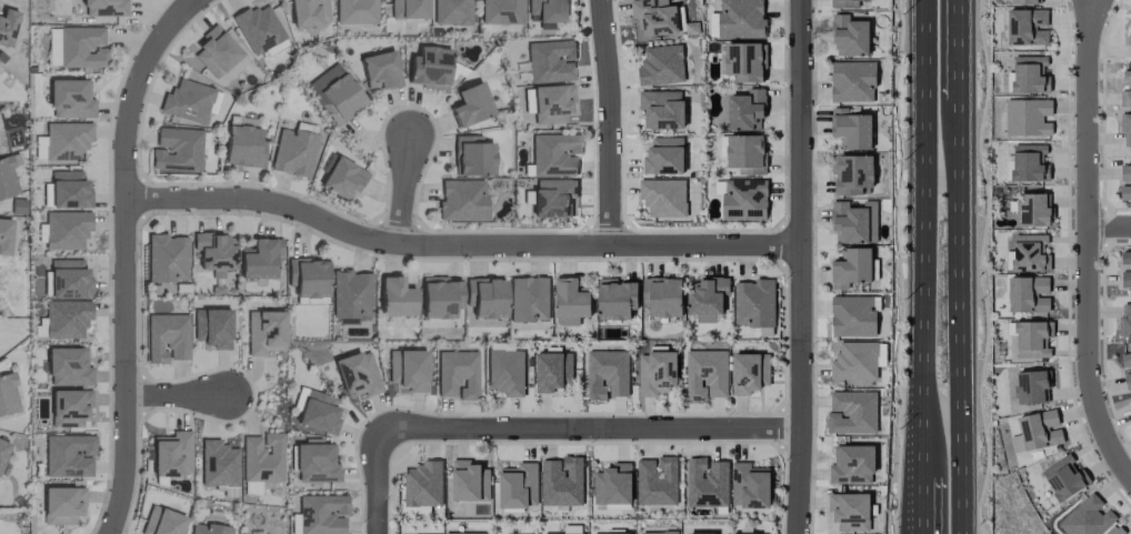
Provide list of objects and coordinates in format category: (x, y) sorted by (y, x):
building: (1023, 1)
building: (845, 3)
building: (97, 8)
building: (407, 9)
building: (354, 11)
building: (500, 11)
building: (307, 12)
building: (450, 12)
building: (546, 12)
building: (654, 17)
building: (741, 19)
building: (713, 24)
building: (7, 26)
building: (1027, 27)
building: (258, 28)
building: (849, 36)
building: (1130, 41)
building: (52, 47)
building: (81, 47)
road: (961, 48)
building: (216, 51)
building: (550, 61)
building: (745, 61)
building: (661, 64)
building: (428, 67)
building: (380, 70)
building: (1028, 75)
building: (852, 81)
building: (1125, 91)
building: (337, 92)
building: (70, 99)
building: (527, 100)
building: (186, 101)
building: (550, 103)
building: (469, 105)
building: (661, 109)
building: (741, 110)
road: (1084, 110)
building: (1027, 117)
road: (611, 123)
building: (1125, 128)
building: (851, 129)
building: (66, 141)
building: (242, 147)
building: (176, 149)
building: (292, 152)
building: (745, 152)
building: (553, 154)
building: (471, 155)
building: (663, 155)
building: (1029, 163)
building: (852, 173)
building: (341, 178)
building: (7, 179)
building: (1125, 182)
building: (68, 190)
road: (403, 190)
building: (552, 198)
building: (663, 198)
building: (461, 200)
building: (744, 200)
building: (1032, 210)
building: (854, 222)
road: (1109, 222)
building: (66, 230)
building: (4, 236)
road: (460, 248)
road: (918, 250)
building: (212, 251)
building: (1028, 252)
road: (127, 258)
building: (166, 258)
building: (1125, 258)
building: (259, 259)
road: (802, 266)
building: (851, 268)
building: (308, 276)
building: (69, 279)
building: (1125, 279)
building: (350, 294)
building: (1028, 294)
building: (662, 296)
building: (394, 298)
building: (439, 298)
building: (486, 298)
building: (529, 299)
building: (615, 299)
building: (707, 299)
building: (571, 301)
building: (754, 303)
road: (961, 314)
building: (852, 315)
building: (66, 319)
building: (1125, 320)
building: (211, 328)
building: (263, 332)
building: (166, 337)
road: (1087, 355)
building: (1125, 359)
building: (858, 360)
building: (67, 366)
building: (407, 370)
building: (552, 371)
building: (506, 372)
building: (657, 372)
building: (749, 372)
building: (357, 374)
building: (457, 374)
building: (607, 374)
building: (705, 374)
building: (1128, 380)
building: (1025, 385)
building: (7, 395)
road: (179, 397)
building: (68, 407)
building: (1130, 410)
building: (852, 411)
building: (318, 412)
road: (589, 431)
building: (1035, 431)
building: (2, 450)
building: (68, 455)
building: (171, 455)
building: (313, 462)
building: (260, 463)
building: (217, 464)
building: (852, 464)
building: (1063, 477)
building: (657, 481)
road: (377, 482)
building: (469, 482)
building: (561, 482)
building: (707, 483)
building: (423, 484)
building: (612, 484)
building: (749, 485)
building: (518, 486)
building: (849, 511)
building: (321, 513)
road: (920, 516)
building: (1088, 517)
building: (161, 522)
building: (207, 528)
building: (1117, 531)
building: (659, 532)
building: (464, 533)
building: (565, 533)
building: (609, 533)
building: (702, 533)
building: (730, 533)

